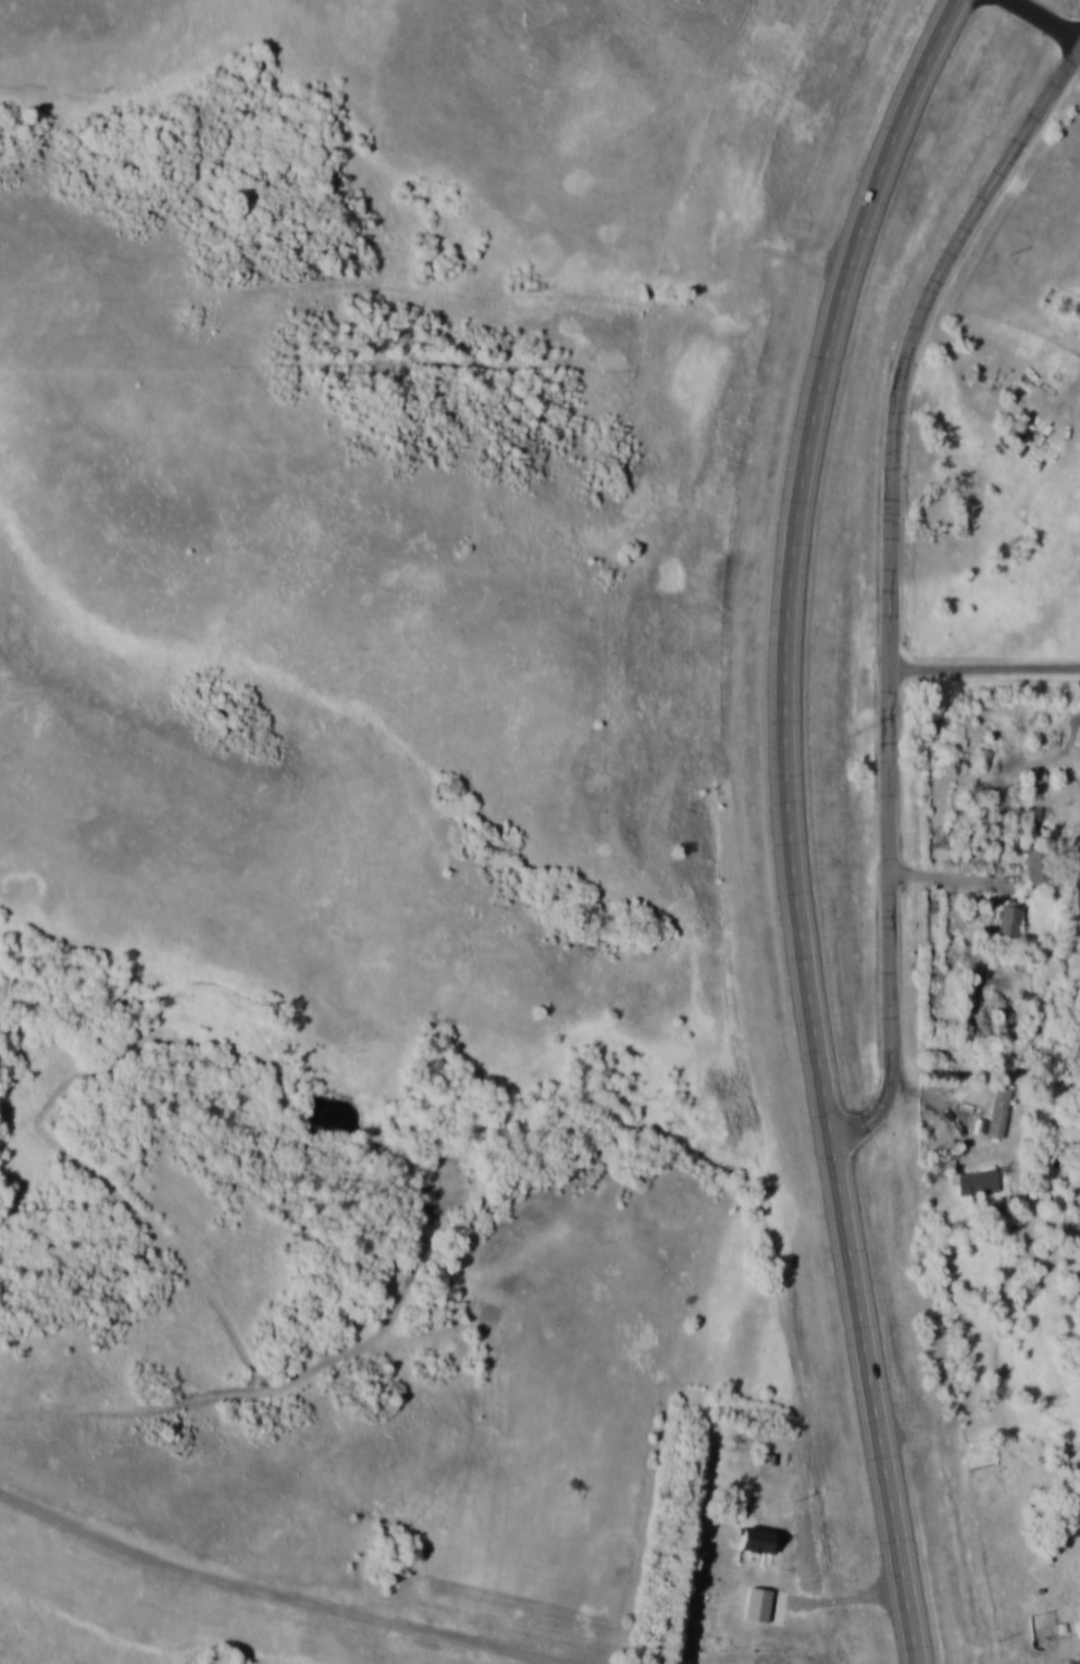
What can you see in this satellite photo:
road: (1046, 20)
road: (787, 559)
road: (894, 585)
road: (986, 670)
building: (1039, 866)
road: (961, 880)
building: (1008, 918)
building: (998, 1110)
building: (979, 1182)
road: (870, 1402)
building: (759, 1539)
road: (831, 1599)

